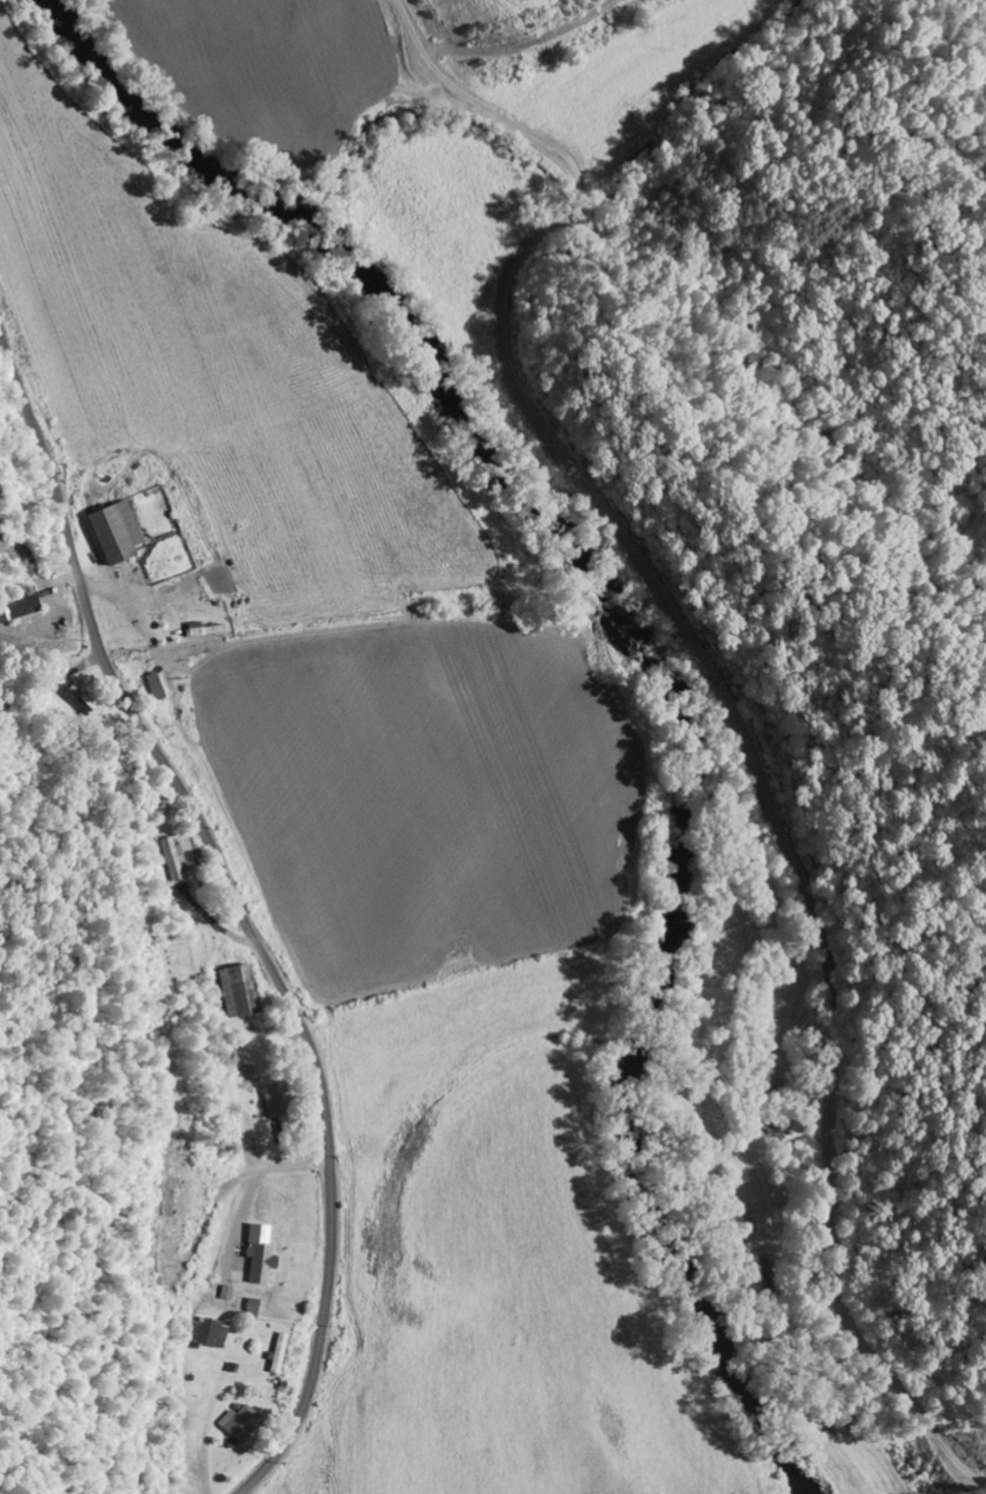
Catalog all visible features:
building: (115, 532)
building: (18, 607)
building: (203, 630)
river: (640, 659)
road: (706, 697)
building: (174, 859)
road: (240, 893)
road: (231, 933)
building: (239, 992)
building: (273, 1102)
building: (260, 1255)
building: (230, 1294)
building: (212, 1333)
building: (279, 1355)
building: (242, 1423)

